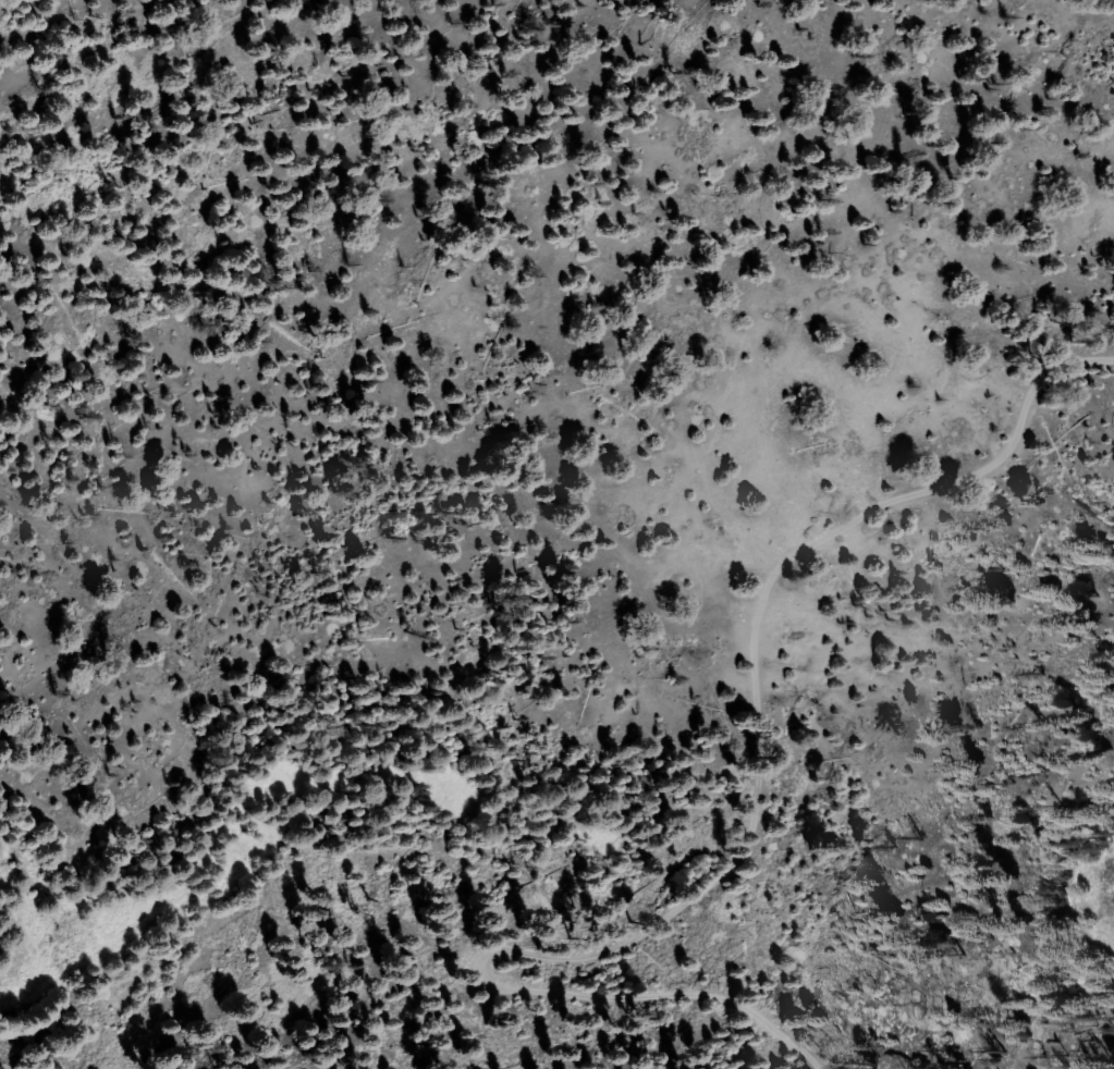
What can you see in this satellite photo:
road: (747, 837)

